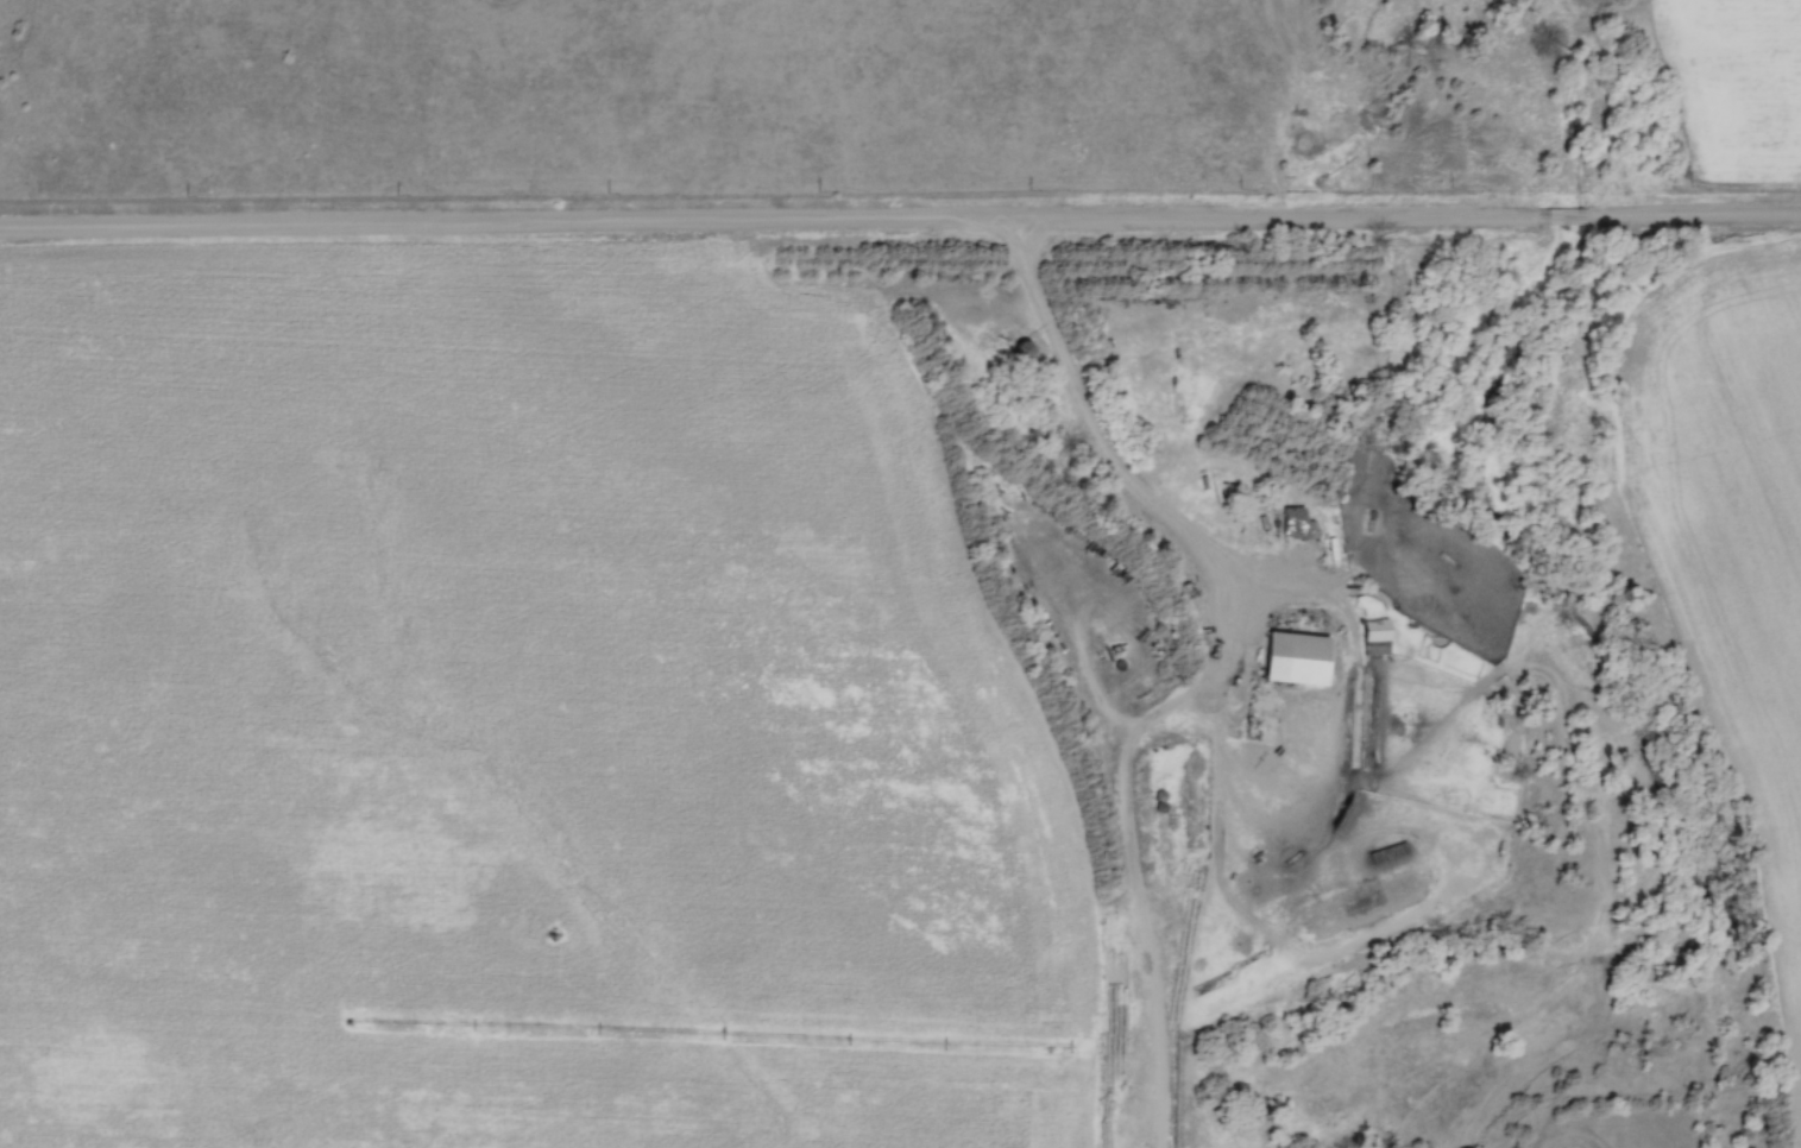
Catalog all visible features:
road: (900, 221)
building: (1024, 348)
road: (1106, 450)
building: (1293, 522)
building: (1297, 658)
building: (1306, 879)

